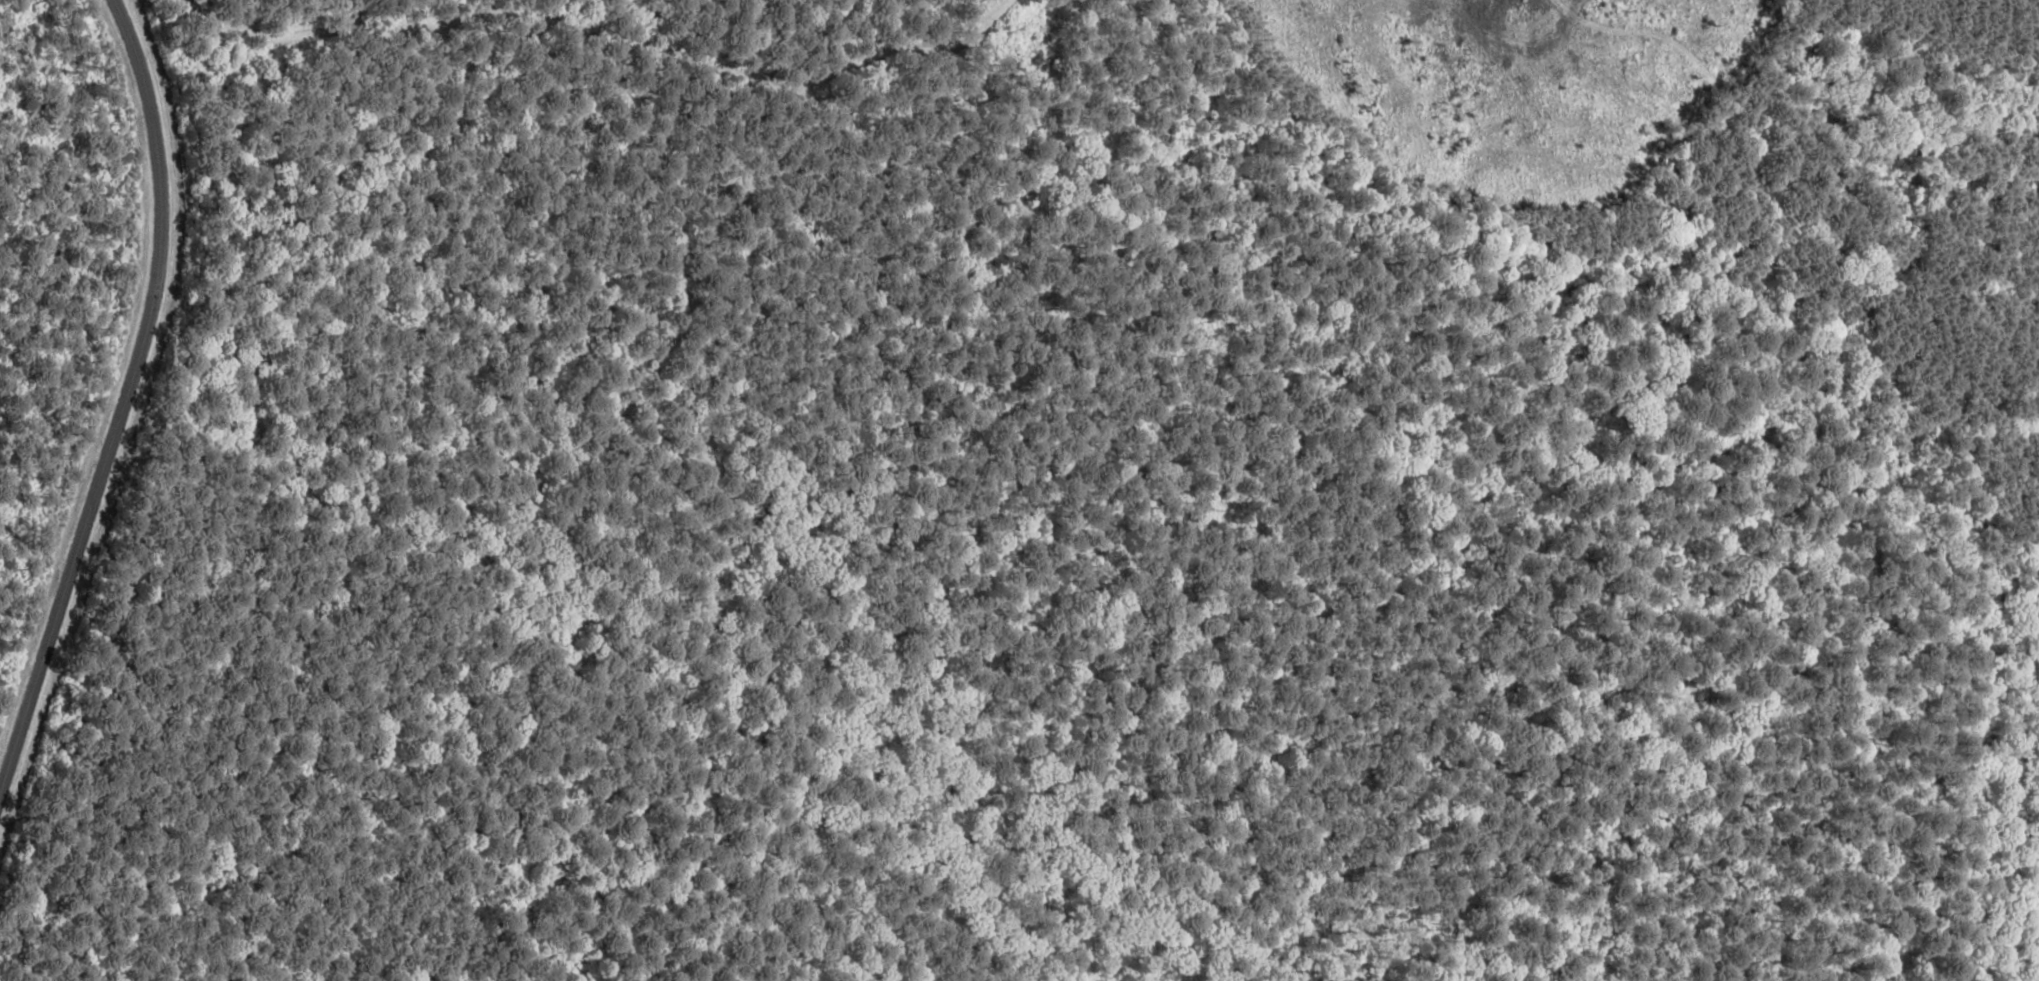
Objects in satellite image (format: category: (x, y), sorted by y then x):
road: (144, 404)

